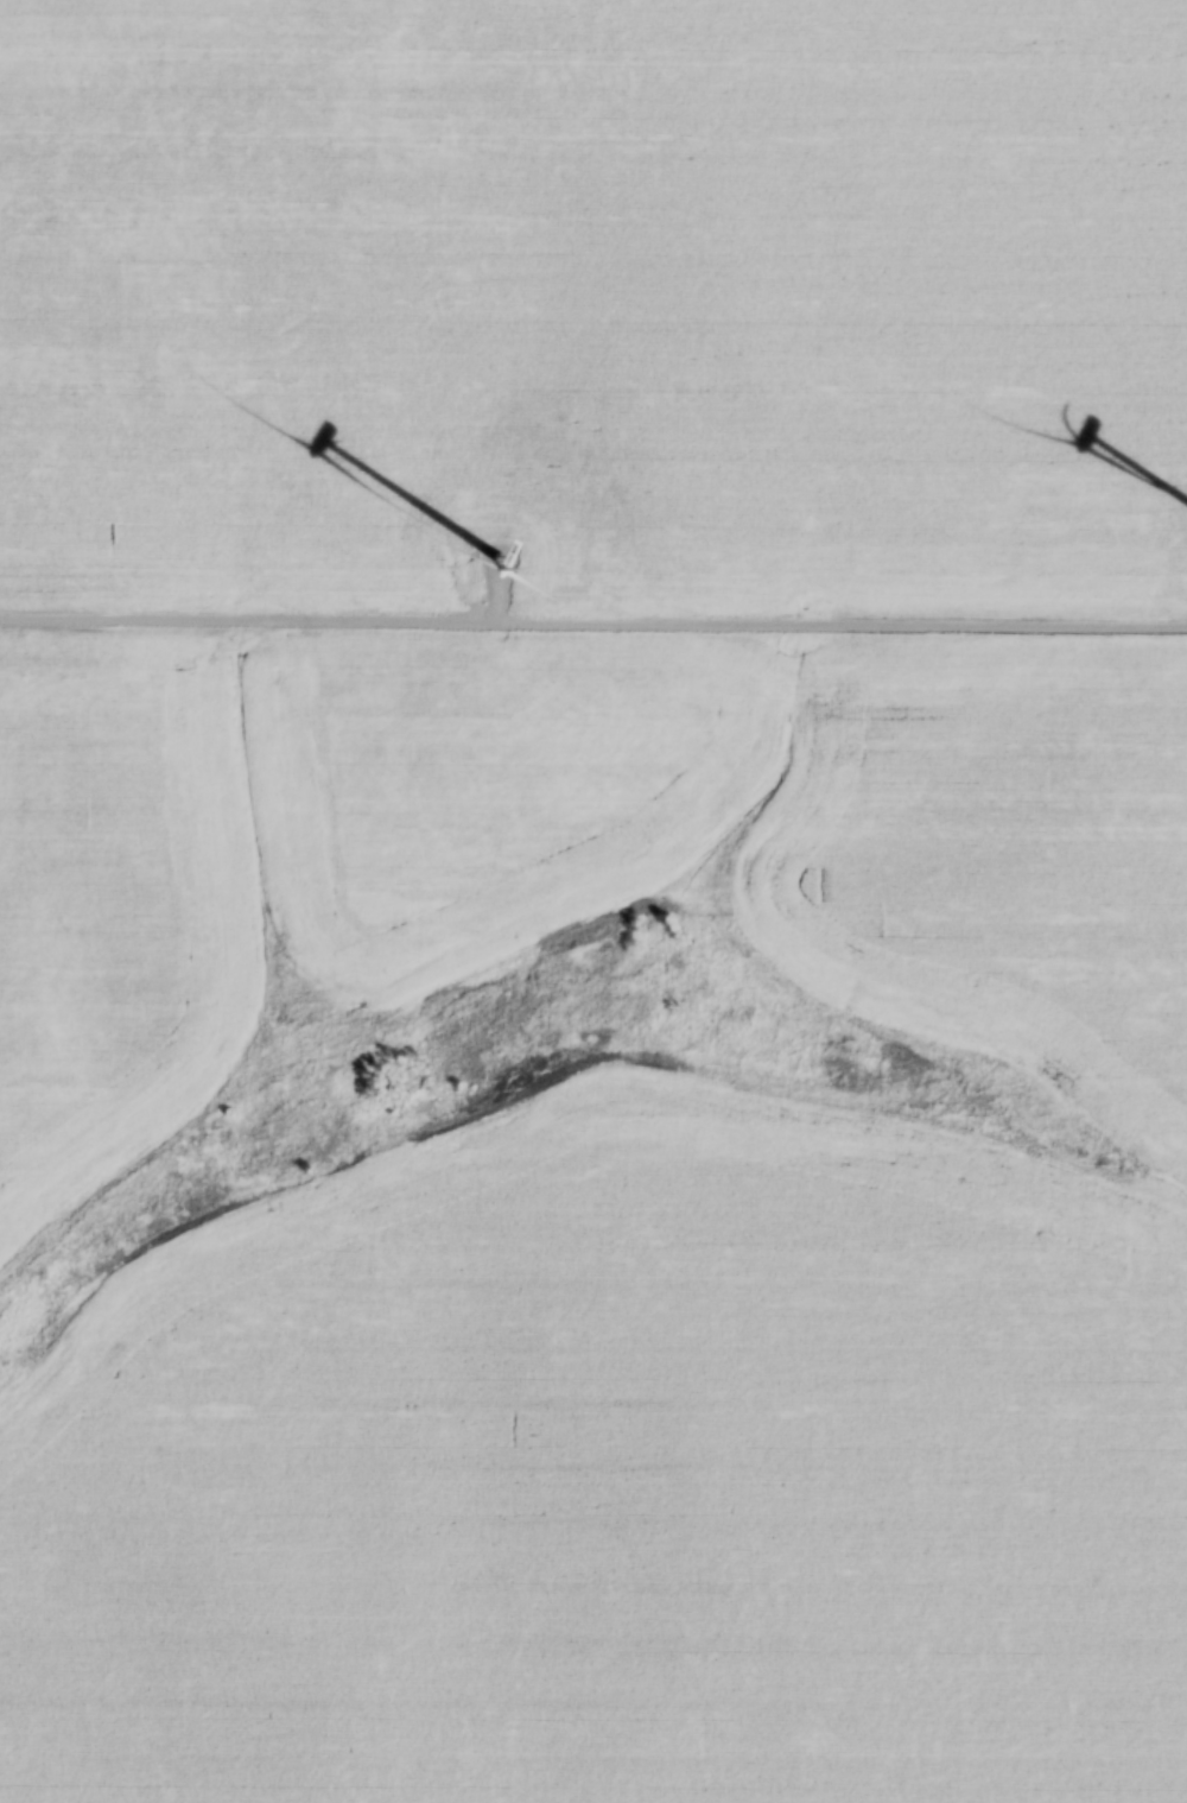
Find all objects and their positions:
wind turbine: (496, 556)

